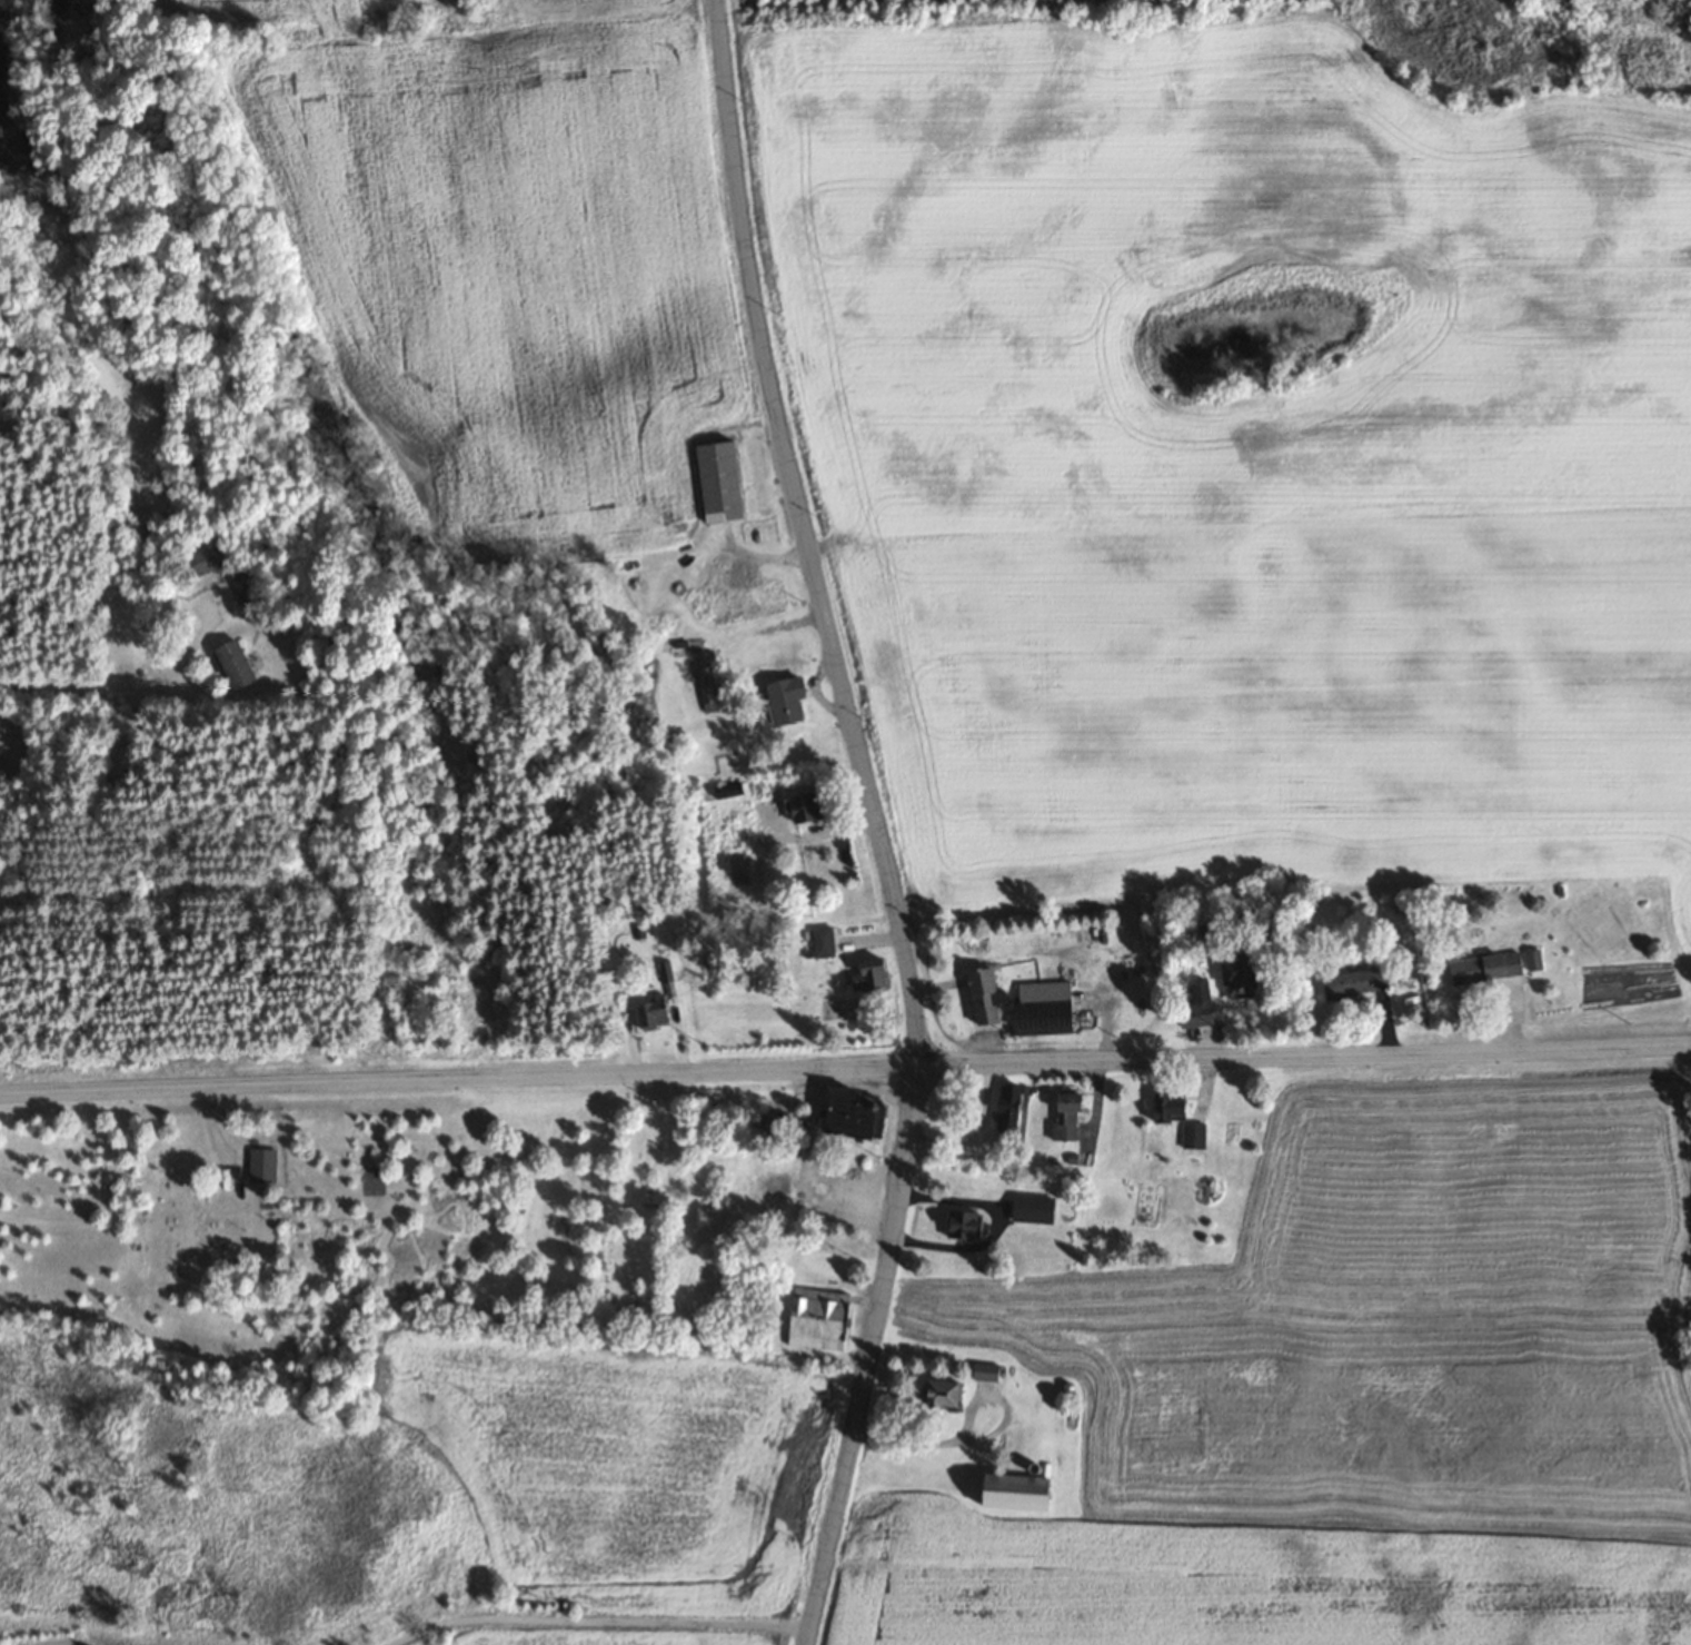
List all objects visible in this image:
building: (716, 482)
building: (203, 559)
building: (245, 588)
building: (739, 603)
building: (231, 663)
building: (703, 690)
building: (780, 700)
building: (802, 806)
road: (874, 821)
building: (818, 941)
building: (1492, 965)
building: (864, 974)
building: (1235, 977)
building: (1352, 982)
building: (983, 998)
building: (1041, 1008)
building: (650, 1012)
building: (1191, 1013)
road: (845, 1069)
building: (1005, 1112)
building: (845, 1116)
building: (1062, 1116)
building: (1174, 1119)
building: (257, 1165)
building: (1028, 1209)
building: (961, 1226)
building: (793, 1310)
building: (983, 1371)
building: (936, 1393)
building: (1008, 1490)
road: (608, 1633)

